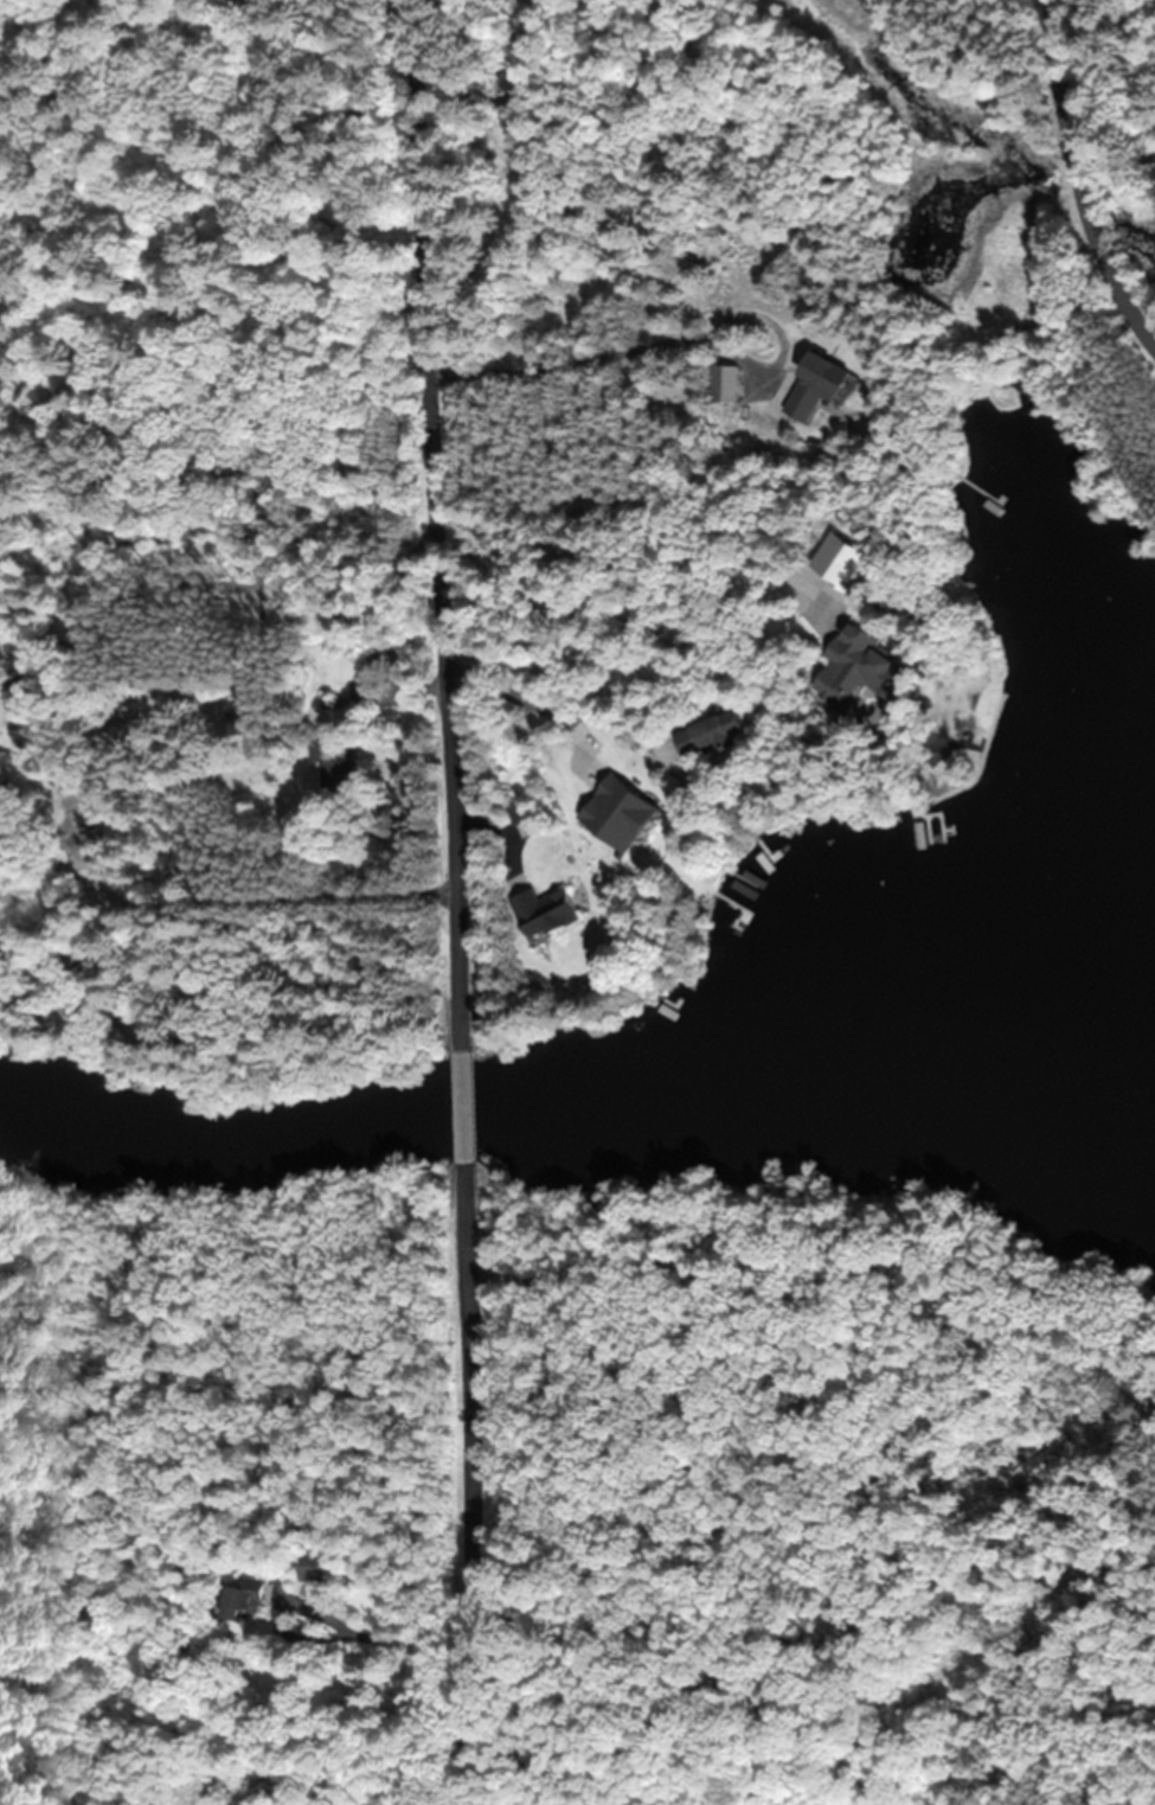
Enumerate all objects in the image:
road: (1085, 173)
road: (449, 524)
building: (853, 670)
building: (706, 734)
building: (334, 763)
building: (522, 817)
building: (543, 909)
river: (580, 1097)
road: (467, 1107)
road: (1110, 1389)
road: (485, 1484)
park: (810, 1504)
building: (316, 1566)
building: (244, 1600)

